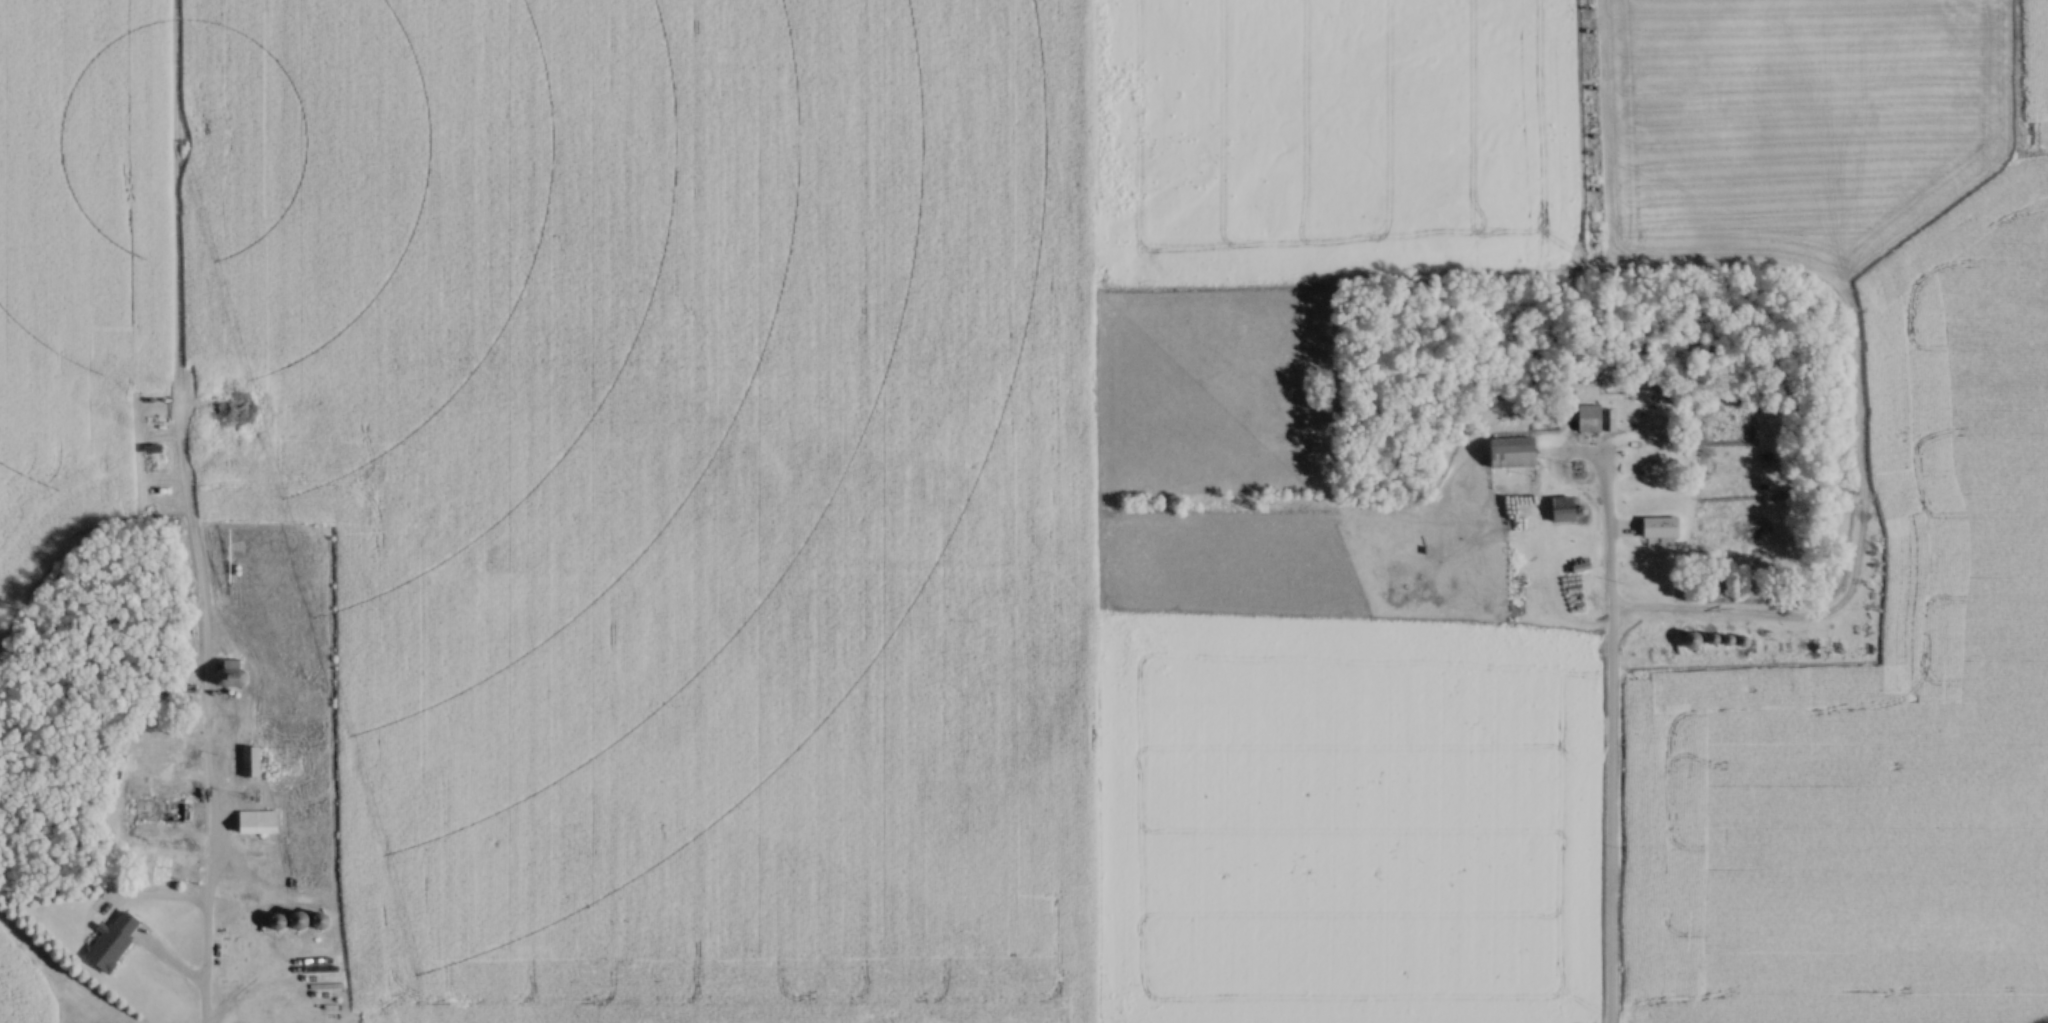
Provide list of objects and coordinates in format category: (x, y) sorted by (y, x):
building: (1590, 417)
building: (1506, 450)
building: (1559, 508)
building: (1656, 525)
building: (1577, 566)
building: (283, 699)
road: (1611, 740)
building: (249, 760)
building: (302, 771)
building: (163, 809)
building: (255, 820)
building: (364, 823)
road: (207, 824)
building: (112, 939)

